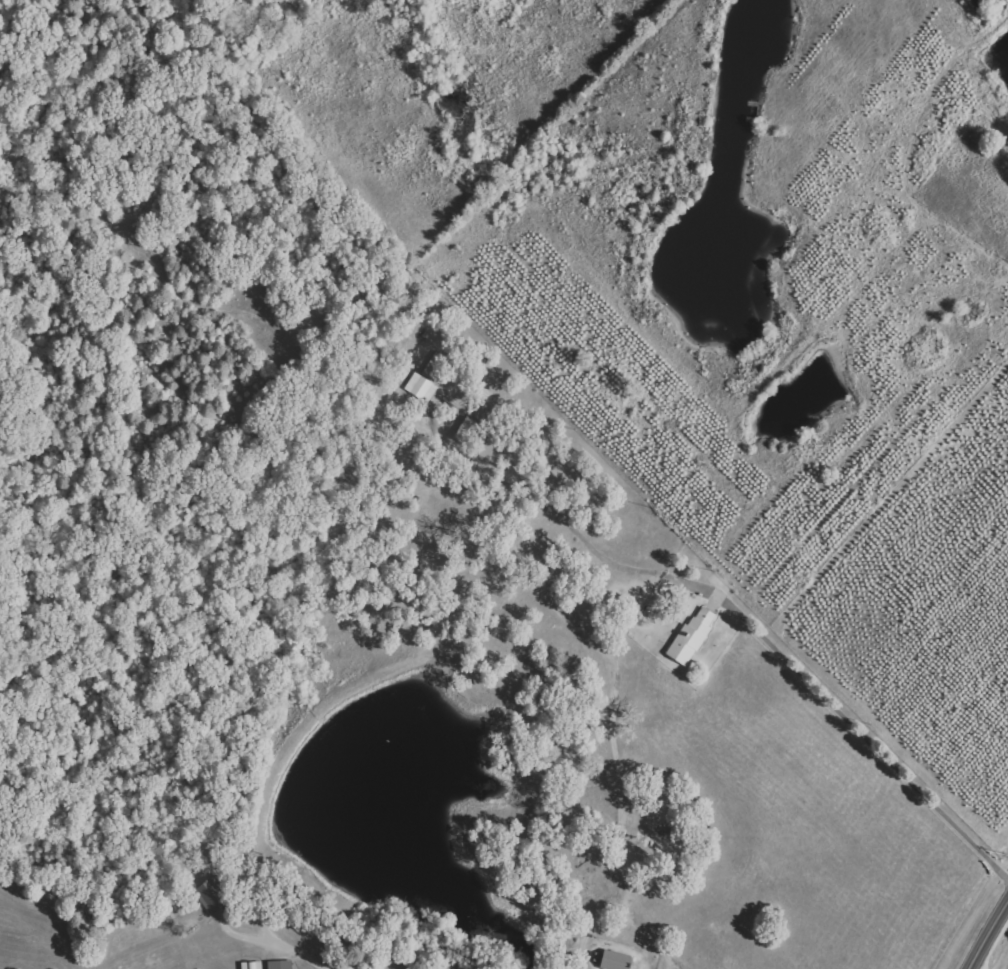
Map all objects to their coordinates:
building: (427, 378)
building: (693, 636)
road: (866, 737)
building: (211, 895)
road: (990, 934)
road: (288, 942)
building: (614, 961)
building: (252, 965)
building: (280, 965)

